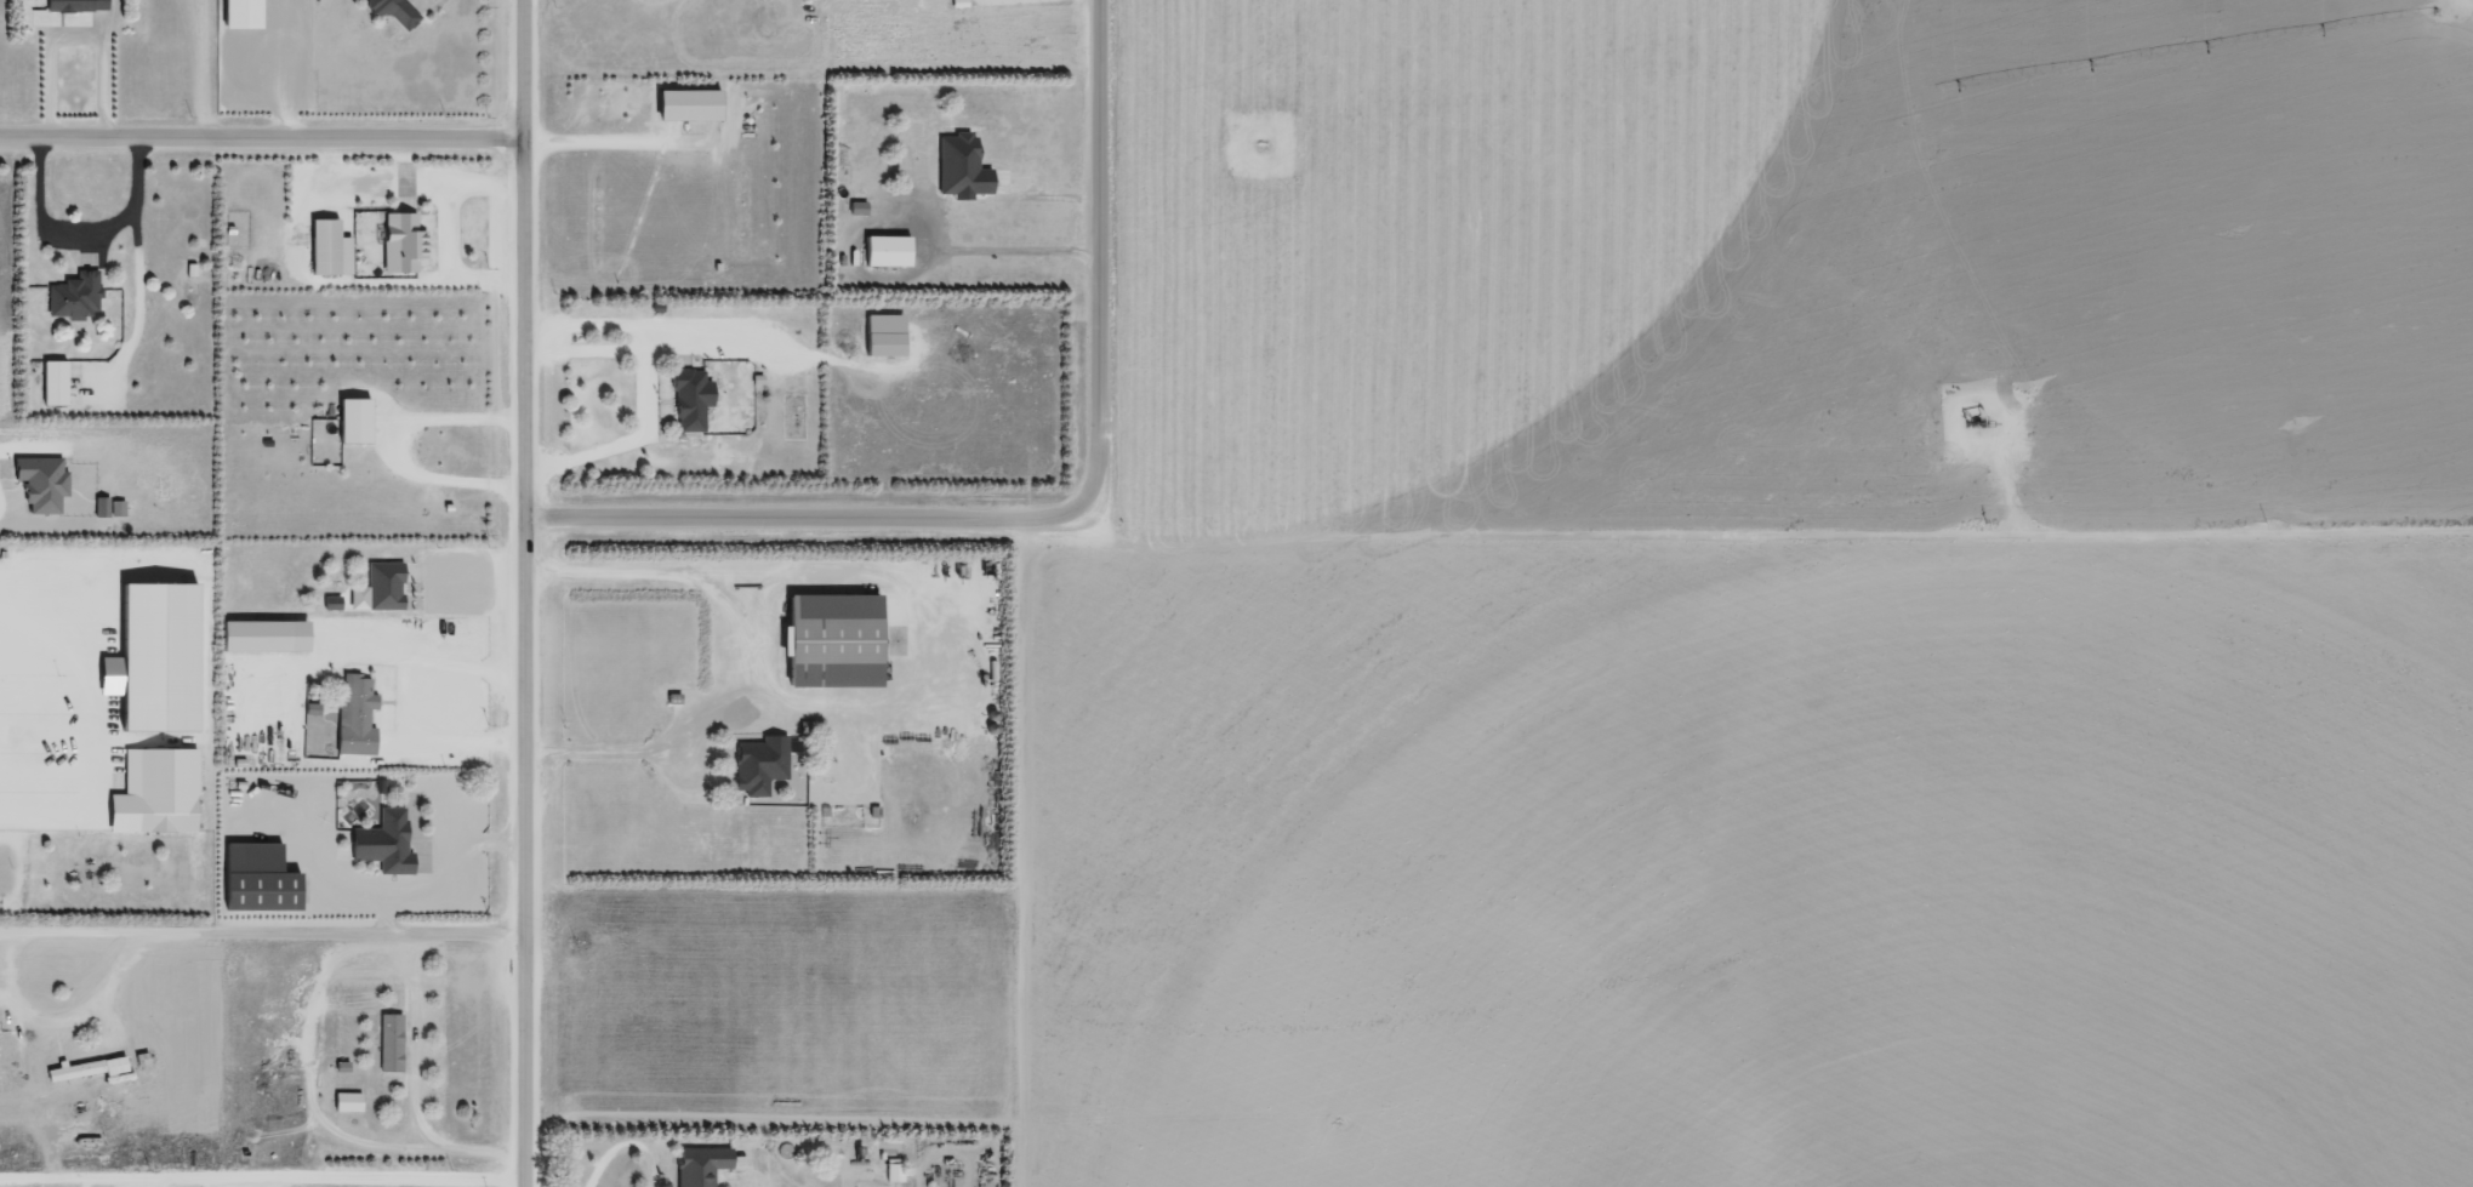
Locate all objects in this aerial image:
building: (956, 2)
building: (74, 5)
building: (392, 11)
building: (239, 13)
building: (685, 104)
road: (258, 148)
building: (959, 166)
road: (80, 232)
building: (400, 242)
building: (327, 247)
building: (884, 251)
road: (1096, 262)
building: (73, 296)
building: (882, 335)
building: (51, 382)
building: (688, 399)
building: (351, 420)
building: (39, 484)
building: (107, 508)
road: (807, 523)
road: (1784, 525)
building: (377, 588)
road: (210, 590)
road: (519, 593)
road: (103, 620)
building: (262, 635)
building: (830, 640)
building: (150, 658)
road: (104, 686)
road: (403, 706)
building: (355, 719)
road: (104, 761)
building: (758, 764)
building: (150, 795)
road: (104, 838)
building: (382, 843)
park: (4, 875)
road: (209, 878)
building: (255, 879)
road: (104, 917)
road: (258, 931)
building: (388, 1042)
building: (85, 1068)
road: (416, 1090)
building: (346, 1101)
building: (699, 1165)
building: (893, 1170)

